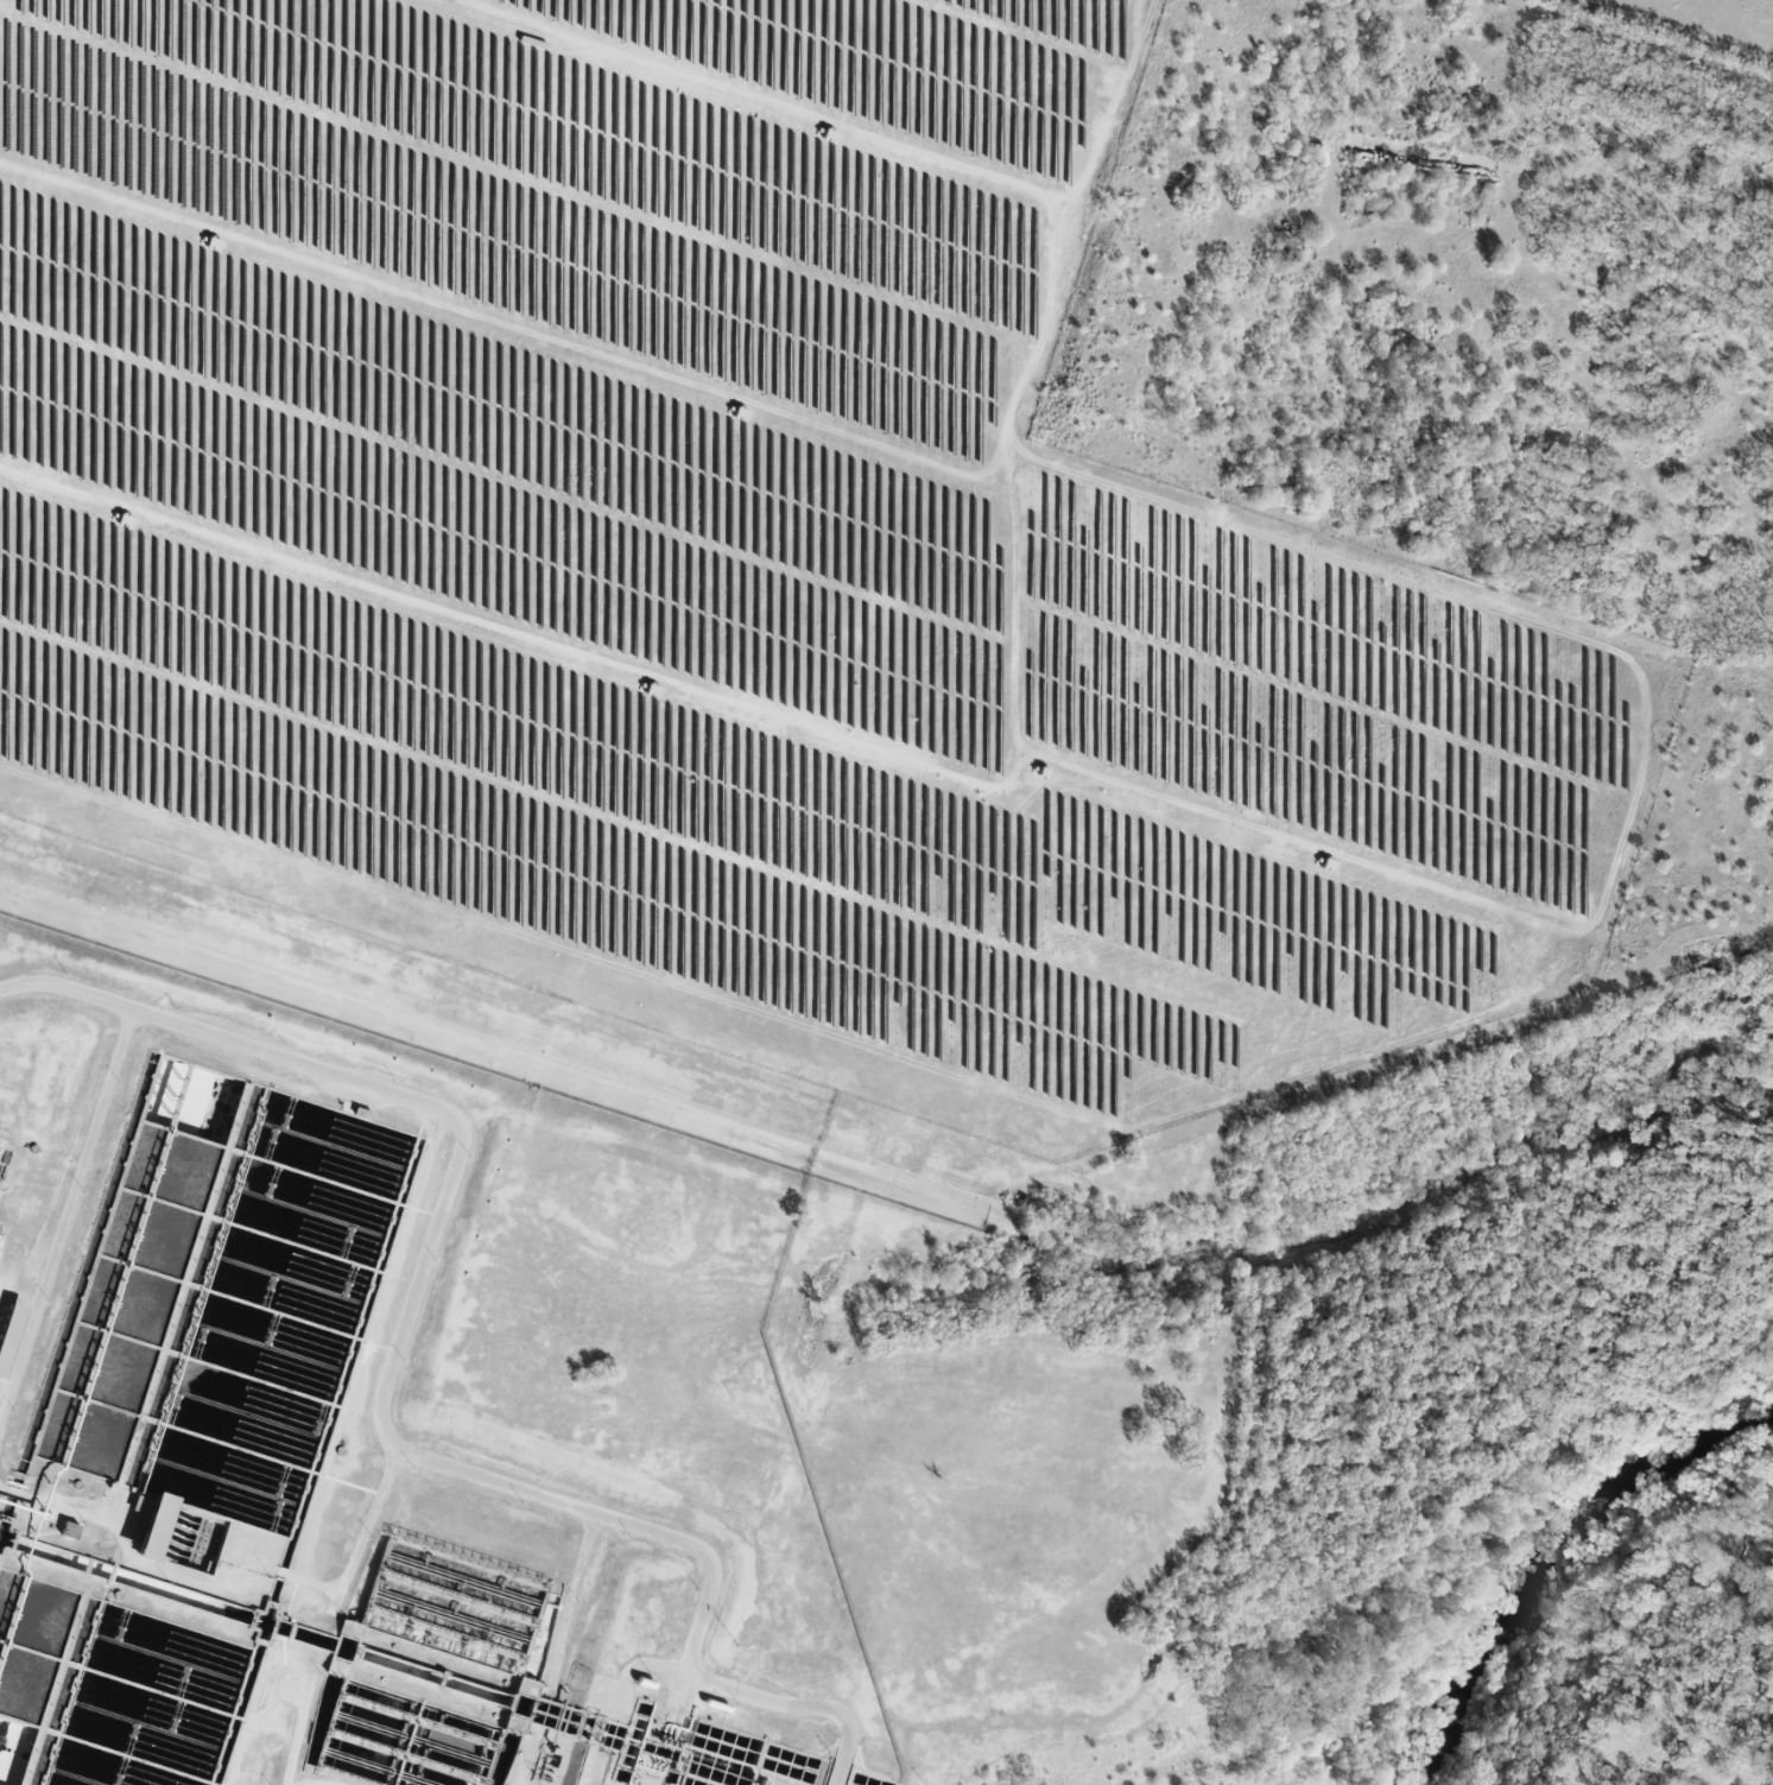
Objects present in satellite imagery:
solar farm: (741, 564)
road: (71, 1201)
building: (11, 1335)
wastewater plant: (390, 1371)
road: (381, 1382)
building: (157, 1527)
building: (70, 1530)
river: (1575, 1569)
building: (793, 1671)

